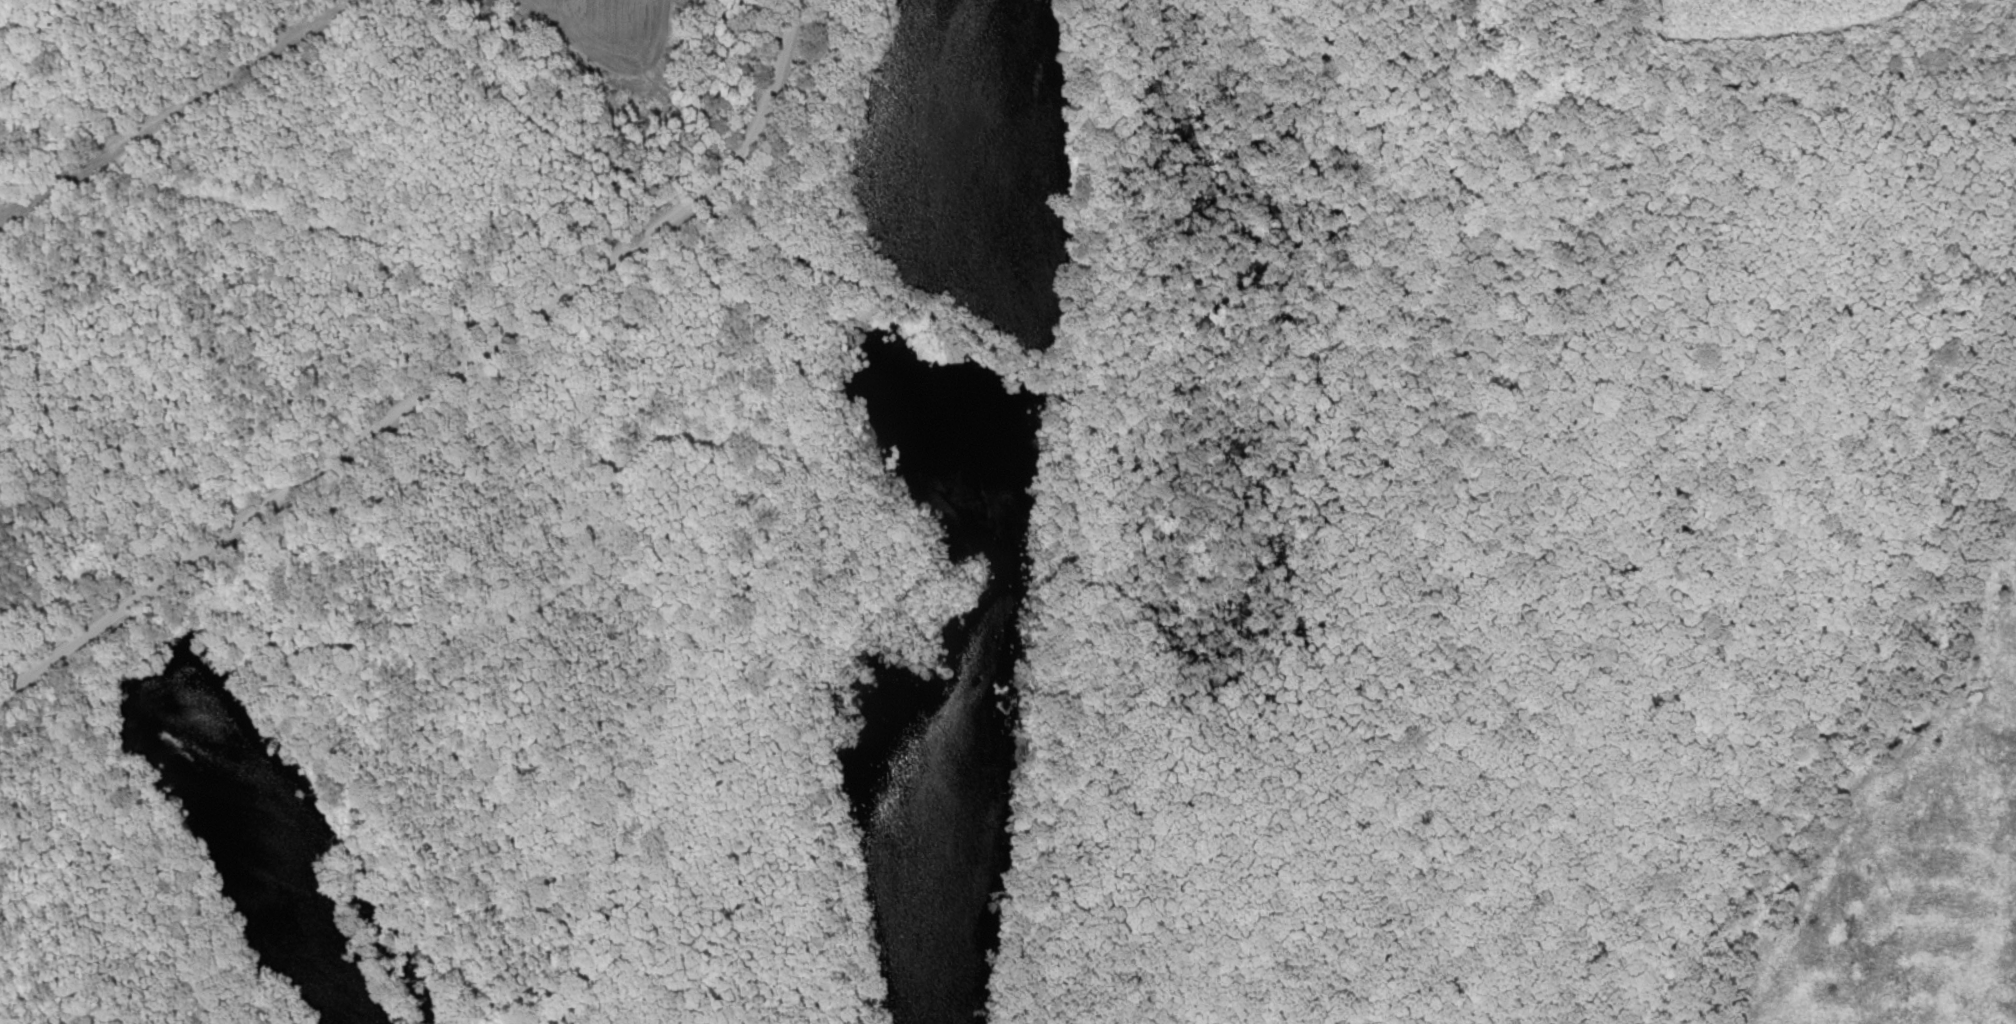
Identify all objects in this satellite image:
road: (440, 384)

